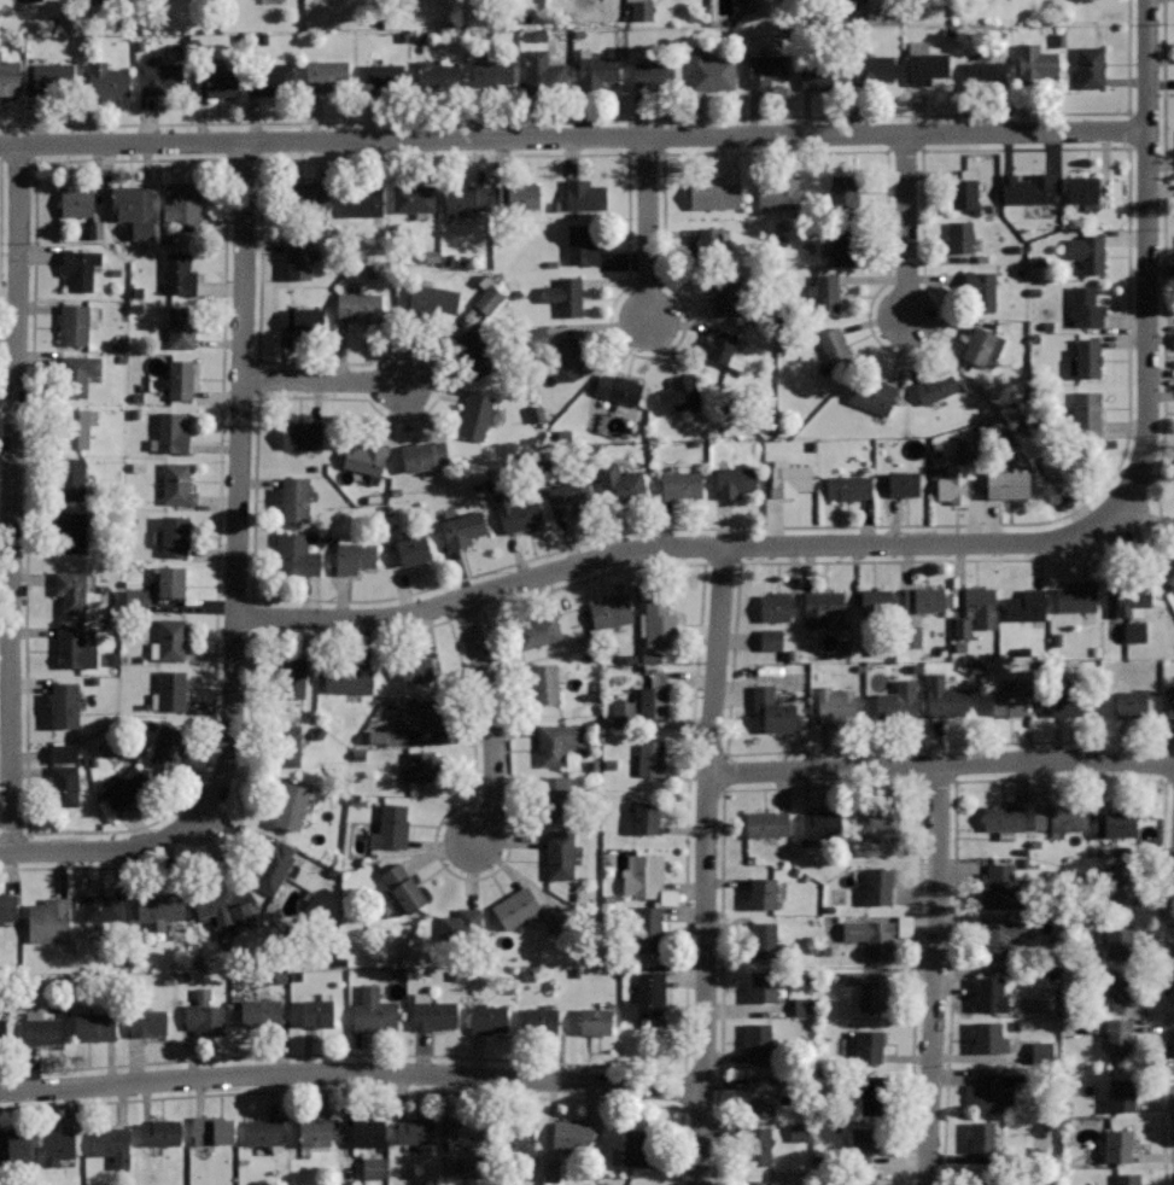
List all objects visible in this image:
building: (30, 0)
building: (854, 10)
building: (639, 11)
building: (1035, 60)
building: (924, 63)
building: (1091, 66)
building: (766, 68)
building: (597, 69)
building: (872, 69)
building: (544, 70)
building: (711, 71)
building: (986, 72)
building: (326, 74)
building: (491, 74)
building: (160, 75)
building: (270, 75)
building: (437, 75)
building: (819, 75)
building: (10, 76)
building: (52, 76)
building: (382, 76)
building: (655, 76)
building: (106, 82)
building: (218, 82)
road: (619, 117)
road: (574, 138)
building: (1028, 188)
building: (1082, 189)
building: (843, 192)
building: (962, 193)
building: (584, 194)
building: (714, 194)
building: (779, 194)
building: (308, 195)
building: (518, 195)
building: (466, 197)
building: (362, 198)
building: (415, 198)
building: (77, 200)
building: (183, 205)
building: (134, 208)
road: (907, 226)
road: (648, 229)
building: (959, 235)
building: (583, 243)
building: (845, 244)
building: (709, 247)
building: (1088, 252)
building: (299, 257)
road: (1147, 265)
building: (80, 268)
building: (179, 273)
building: (981, 290)
building: (824, 293)
building: (728, 294)
building: (566, 296)
building: (432, 298)
building: (485, 300)
building: (360, 307)
building: (1087, 307)
road: (258, 319)
building: (304, 320)
building: (75, 323)
building: (182, 326)
building: (532, 338)
building: (982, 345)
building: (836, 346)
building: (724, 349)
building: (474, 351)
building: (573, 357)
building: (1088, 357)
building: (78, 373)
building: (181, 379)
road: (323, 381)
building: (936, 385)
building: (621, 389)
building: (679, 393)
building: (874, 393)
building: (1087, 410)
building: (477, 414)
building: (78, 427)
building: (173, 432)
building: (997, 432)
building: (302, 433)
building: (964, 446)
building: (425, 454)
building: (366, 459)
building: (1065, 465)
building: (790, 478)
building: (72, 479)
building: (736, 480)
building: (956, 481)
building: (177, 483)
building: (621, 483)
building: (904, 483)
building: (1015, 484)
building: (682, 486)
building: (847, 486)
building: (567, 496)
road: (13, 497)
building: (294, 498)
building: (521, 515)
building: (462, 529)
building: (74, 531)
building: (175, 535)
road: (667, 545)
building: (413, 549)
building: (296, 554)
building: (355, 556)
road: (887, 562)
building: (1169, 568)
building: (171, 582)
road: (572, 583)
road: (236, 585)
building: (71, 589)
building: (1077, 596)
building: (1134, 597)
building: (924, 599)
building: (877, 600)
building: (133, 601)
building: (776, 606)
building: (822, 606)
building: (981, 606)
building: (1026, 606)
building: (611, 611)
building: (660, 623)
building: (959, 629)
building: (536, 631)
building: (1132, 631)
building: (909, 637)
building: (171, 638)
building: (767, 640)
building: (74, 648)
building: (415, 665)
building: (292, 677)
building: (346, 678)
building: (544, 683)
building: (173, 689)
building: (654, 695)
building: (946, 697)
building: (898, 700)
building: (1006, 701)
building: (65, 704)
building: (1067, 704)
building: (1131, 704)
building: (836, 705)
building: (1170, 705)
building: (773, 708)
building: (621, 712)
building: (427, 714)
road: (491, 718)
building: (392, 736)
building: (373, 739)
building: (557, 741)
building: (286, 745)
building: (169, 746)
building: (60, 754)
building: (652, 757)
road: (941, 764)
building: (422, 765)
road: (1058, 776)
building: (65, 786)
building: (125, 787)
road: (823, 787)
road: (182, 798)
building: (554, 798)
building: (292, 805)
building: (646, 816)
building: (1057, 816)
building: (1004, 818)
building: (878, 821)
building: (767, 823)
building: (820, 824)
building: (1116, 824)
building: (391, 825)
building: (561, 854)
road: (707, 864)
building: (278, 866)
building: (643, 875)
building: (1121, 881)
building: (880, 886)
building: (1005, 886)
building: (403, 887)
building: (763, 892)
building: (211, 904)
building: (7, 906)
building: (104, 907)
building: (518, 907)
building: (160, 909)
building: (243, 917)
building: (553, 918)
building: (51, 920)
building: (462, 926)
building: (648, 928)
building: (877, 934)
building: (1003, 935)
building: (765, 938)
building: (1120, 944)
road: (935, 975)
building: (764, 985)
building: (1116, 988)
building: (991, 992)
building: (650, 993)
building: (880, 996)
building: (259, 1010)
building: (373, 1010)
building: (317, 1011)
building: (433, 1011)
building: (487, 1017)
building: (205, 1018)
building: (542, 1021)
building: (595, 1021)
building: (148, 1022)
building: (95, 1026)
building: (2, 1029)
building: (42, 1029)
building: (989, 1035)
building: (1117, 1039)
building: (758, 1040)
building: (870, 1046)
building: (1039, 1051)
road: (350, 1073)
building: (994, 1091)
road: (378, 1092)
building: (761, 1093)
building: (1121, 1094)
building: (870, 1097)
building: (416, 1129)
building: (211, 1131)
building: (368, 1131)
building: (160, 1132)
building: (265, 1132)
building: (315, 1132)
building: (466, 1132)
building: (573, 1134)
building: (982, 1136)
building: (518, 1138)
building: (864, 1140)
building: (13, 1144)
building: (113, 1144)
building: (759, 1144)
building: (58, 1145)
building: (1120, 1145)
building: (637, 1146)
building: (369, 1168)
building: (1127, 1178)
building: (991, 1179)
building: (757, 1183)
building: (615, 1184)
building: (626, 1184)

